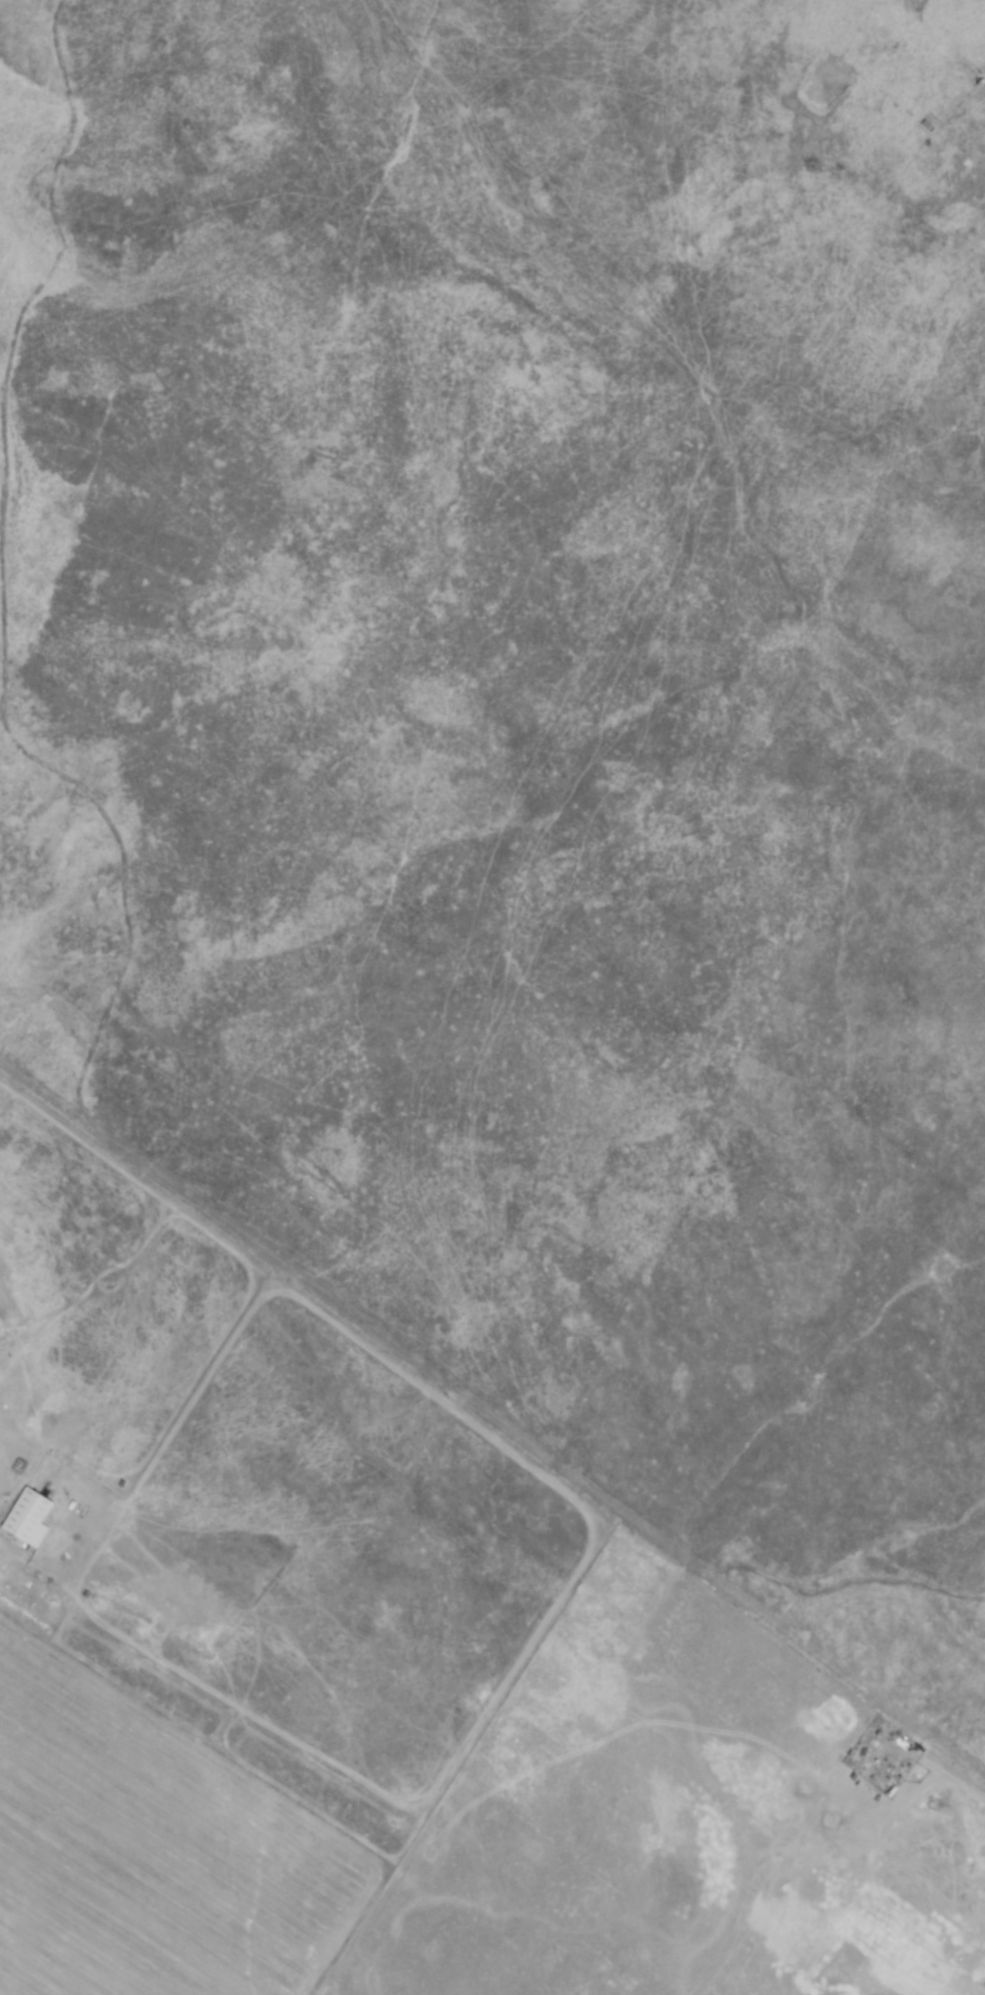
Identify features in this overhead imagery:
building: (26, 1517)

